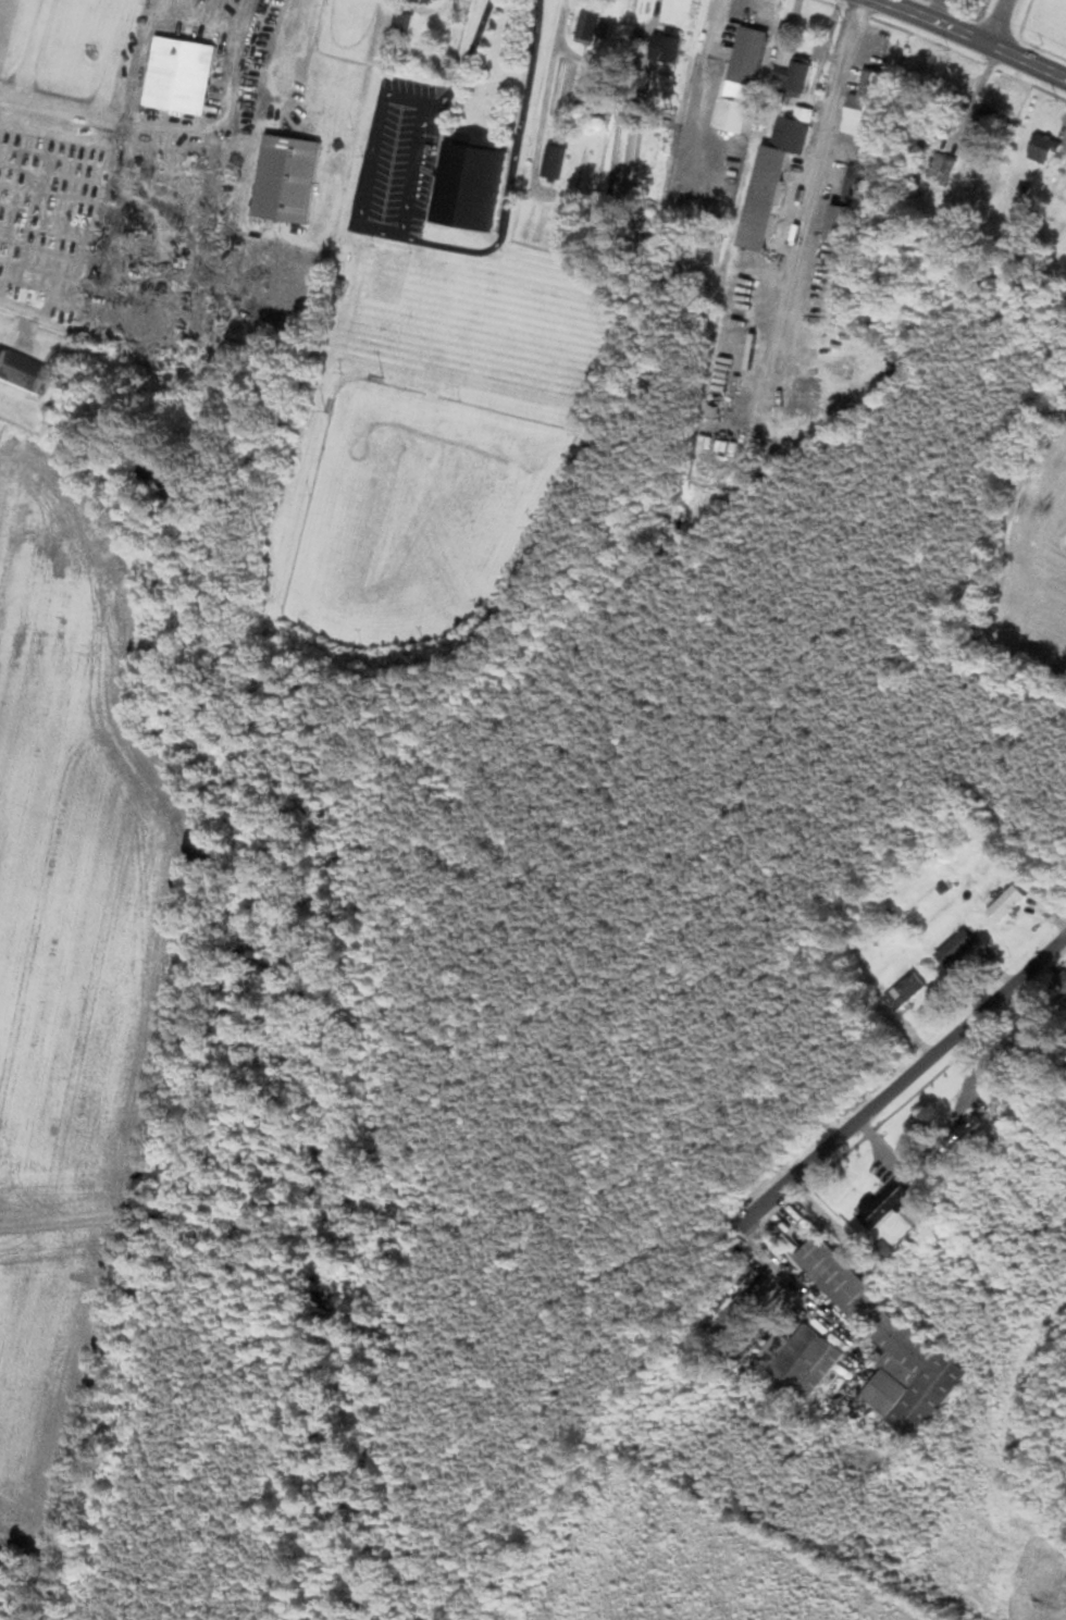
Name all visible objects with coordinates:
building: (424, 1)
road: (187, 8)
road: (994, 21)
building: (402, 22)
building: (593, 25)
road: (976, 37)
road: (294, 45)
building: (666, 47)
building: (746, 62)
building: (793, 74)
building: (179, 75)
building: (875, 85)
building: (862, 115)
building: (984, 123)
road: (178, 126)
building: (795, 129)
building: (1043, 149)
road: (372, 152)
building: (555, 160)
building: (286, 178)
building: (469, 182)
building: (855, 185)
building: (764, 197)
building: (842, 223)
road: (445, 245)
road: (106, 270)
building: (21, 372)
building: (1006, 904)
building: (956, 950)
building: (1058, 988)
building: (905, 992)
road: (979, 1012)
building: (962, 1136)
road: (823, 1155)
building: (888, 1208)
building: (736, 1318)
building: (873, 1331)
building: (798, 1363)

